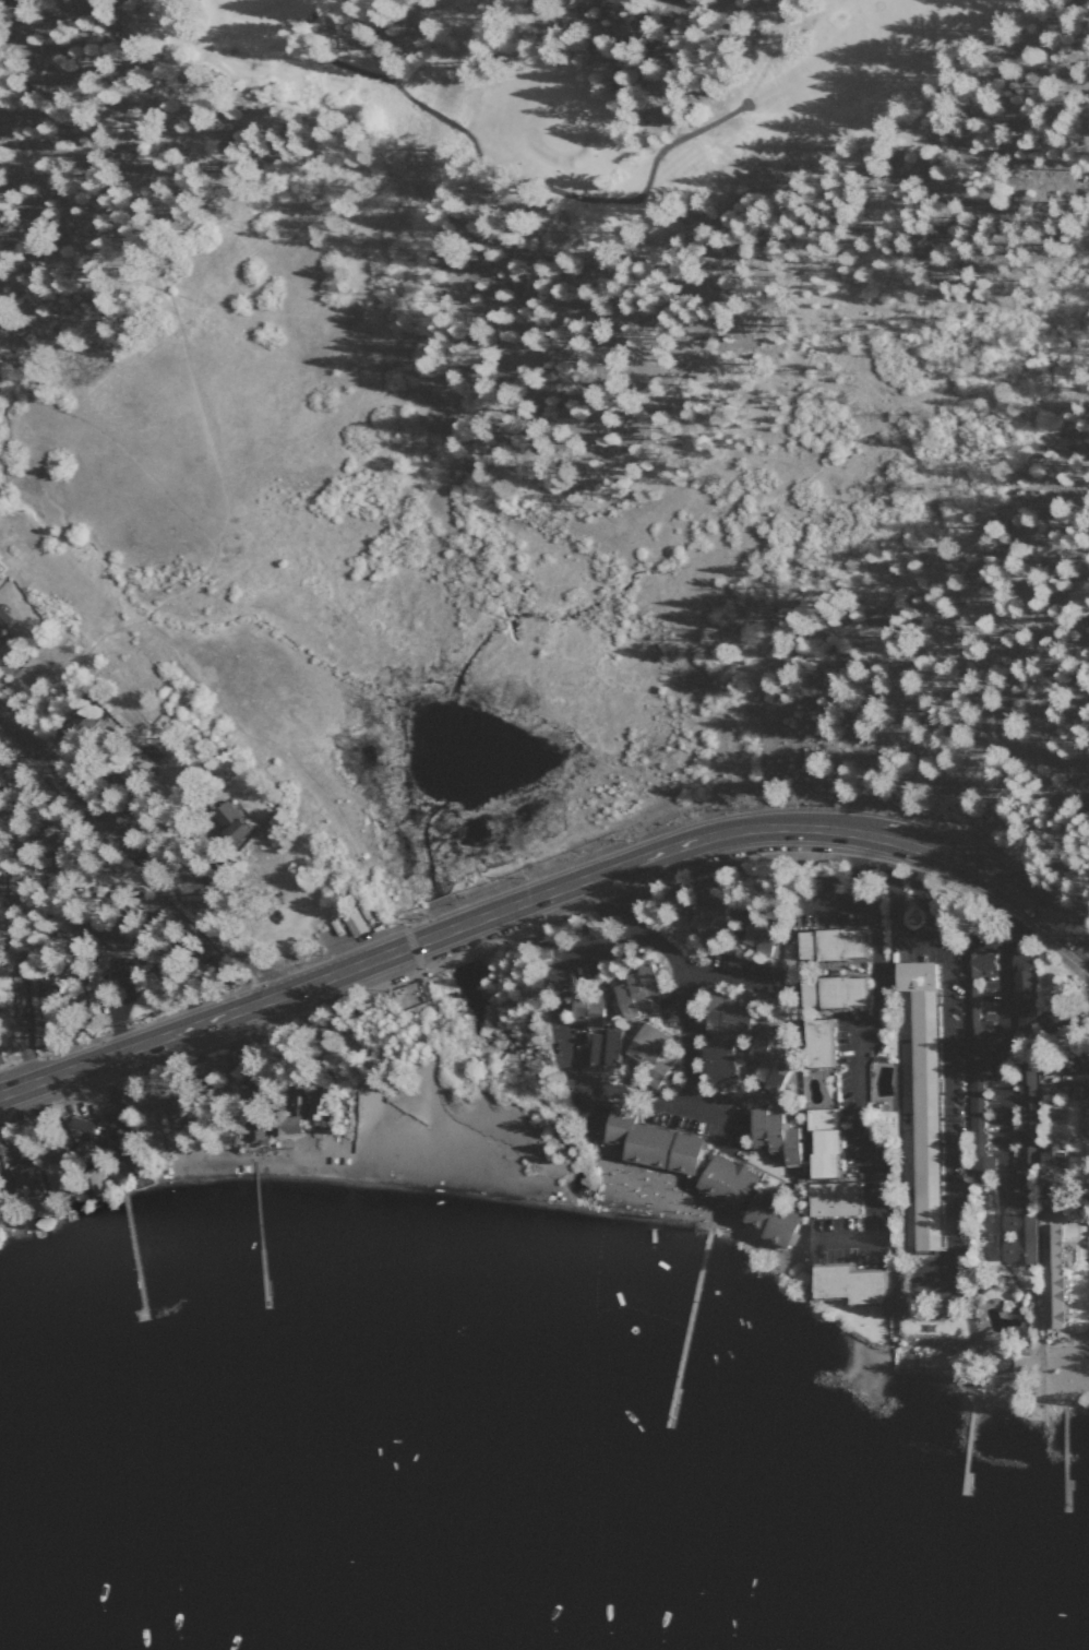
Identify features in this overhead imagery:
road: (306, 55)
road: (403, 92)
park: (581, 98)
road: (436, 114)
road: (610, 200)
road: (193, 381)
road: (113, 436)
building: (3, 618)
building: (227, 819)
road: (142, 862)
road: (1026, 900)
building: (707, 916)
building: (354, 923)
road: (472, 927)
building: (118, 934)
building: (756, 934)
road: (910, 938)
road: (619, 939)
building: (827, 942)
building: (978, 961)
road: (132, 980)
road: (730, 981)
road: (179, 983)
building: (634, 988)
building: (37, 990)
building: (829, 990)
building: (1020, 992)
road: (558, 1007)
building: (588, 1009)
building: (726, 1012)
building: (1049, 1020)
road: (687, 1036)
building: (815, 1042)
road: (1002, 1045)
building: (602, 1048)
building: (649, 1055)
building: (765, 1059)
road: (855, 1060)
building: (717, 1061)
building: (213, 1064)
building: (920, 1097)
road: (0, 1100)
park: (416, 1103)
building: (315, 1105)
road: (948, 1111)
building: (1026, 1117)
building: (279, 1123)
building: (219, 1128)
building: (771, 1133)
building: (79, 1137)
building: (819, 1141)
building: (648, 1142)
building: (50, 1165)
building: (1049, 1166)
building: (20, 1177)
building: (91, 1180)
building: (725, 1180)
building: (829, 1198)
building: (770, 1218)
pier: (260, 1234)
building: (1016, 1237)
pier: (135, 1254)
building: (1050, 1275)
building: (846, 1283)
pier: (690, 1320)
pier: (971, 1447)
pier: (1064, 1460)

